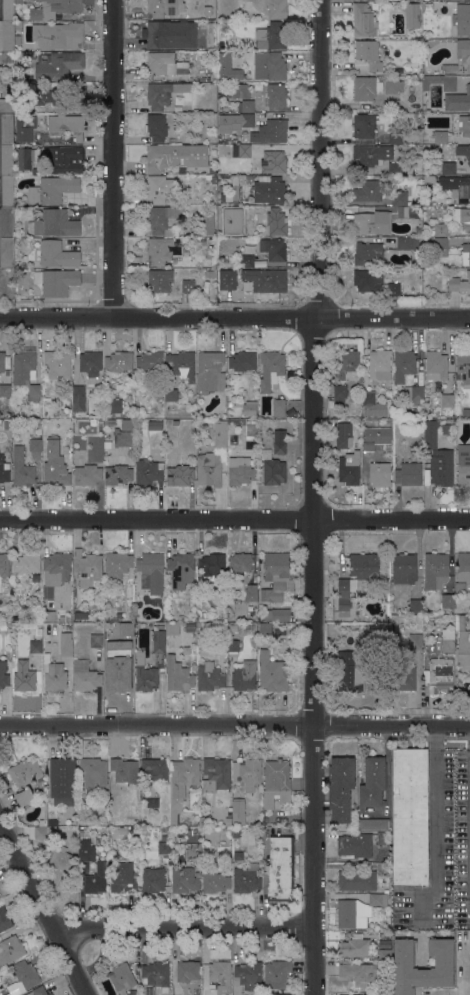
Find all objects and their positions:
building: (428, 6)
building: (165, 7)
building: (55, 8)
building: (276, 8)
building: (8, 10)
building: (207, 10)
building: (412, 15)
building: (16, 17)
building: (462, 19)
building: (363, 20)
building: (18, 25)
building: (170, 34)
building: (58, 35)
building: (8, 36)
building: (275, 37)
building: (18, 40)
building: (463, 51)
building: (368, 54)
building: (20, 55)
building: (7, 57)
building: (164, 64)
building: (57, 65)
building: (275, 66)
building: (228, 67)
building: (449, 69)
building: (248, 74)
road: (467, 80)
building: (440, 82)
building: (392, 86)
building: (365, 88)
building: (240, 91)
building: (431, 91)
building: (164, 93)
building: (44, 95)
building: (276, 95)
building: (12, 101)
building: (457, 101)
building: (244, 106)
building: (425, 108)
building: (242, 120)
building: (364, 125)
building: (464, 125)
building: (67, 126)
building: (156, 127)
building: (25, 128)
building: (7, 129)
building: (271, 132)
building: (394, 136)
building: (440, 136)
building: (172, 140)
building: (241, 151)
building: (463, 151)
building: (372, 155)
building: (175, 156)
building: (25, 158)
building: (7, 160)
building: (67, 160)
road: (111, 160)
building: (270, 163)
building: (394, 168)
building: (448, 168)
building: (409, 170)
building: (35, 171)
building: (213, 171)
building: (248, 179)
building: (430, 179)
building: (214, 180)
building: (456, 185)
building: (157, 189)
building: (53, 190)
building: (270, 190)
building: (427, 190)
building: (7, 191)
building: (368, 192)
building: (232, 193)
building: (399, 196)
building: (225, 217)
building: (461, 217)
building: (163, 219)
building: (382, 219)
building: (276, 221)
building: (6, 222)
building: (54, 223)
building: (209, 223)
building: (420, 223)
building: (440, 230)
building: (431, 232)
building: (212, 240)
building: (407, 243)
building: (441, 246)
building: (274, 249)
building: (163, 250)
building: (6, 253)
building: (368, 253)
building: (54, 254)
building: (465, 254)
building: (221, 259)
building: (248, 261)
building: (419, 272)
building: (211, 273)
building: (227, 279)
building: (159, 280)
building: (266, 280)
building: (368, 280)
building: (56, 281)
building: (419, 281)
building: (459, 284)
building: (187, 285)
building: (394, 289)
road: (235, 320)
building: (242, 360)
building: (4, 361)
building: (119, 361)
building: (149, 361)
building: (91, 363)
building: (58, 364)
building: (404, 364)
building: (182, 365)
building: (348, 365)
building: (379, 365)
building: (436, 365)
building: (463, 369)
building: (271, 370)
building: (210, 372)
building: (27, 374)
building: (123, 388)
building: (5, 390)
building: (413, 394)
building: (171, 395)
building: (339, 396)
building: (79, 399)
building: (447, 400)
building: (168, 404)
building: (372, 406)
building: (398, 406)
building: (111, 407)
building: (250, 408)
building: (279, 408)
building: (65, 412)
building: (465, 412)
building: (155, 413)
building: (5, 415)
building: (100, 421)
building: (109, 422)
building: (175, 422)
building: (224, 422)
building: (127, 424)
building: (7, 425)
building: (155, 425)
building: (430, 434)
building: (343, 435)
building: (123, 438)
building: (220, 439)
building: (280, 442)
building: (35, 444)
building: (372, 444)
building: (463, 464)
building: (22, 468)
building: (349, 468)
building: (441, 468)
building: (209, 469)
building: (4, 471)
building: (240, 471)
building: (274, 471)
building: (148, 472)
building: (56, 473)
building: (379, 474)
building: (409, 474)
building: (87, 475)
building: (118, 475)
building: (180, 475)
road: (313, 497)
road: (235, 520)
building: (26, 563)
building: (239, 563)
building: (4, 565)
building: (117, 565)
building: (211, 565)
building: (364, 566)
building: (463, 567)
building: (88, 568)
building: (404, 568)
building: (181, 569)
building: (436, 570)
building: (55, 572)
building: (151, 572)
building: (275, 576)
building: (460, 587)
building: (128, 591)
building: (251, 592)
building: (345, 595)
building: (447, 601)
building: (415, 606)
building: (77, 614)
building: (119, 615)
building: (202, 615)
building: (277, 615)
building: (49, 616)
building: (180, 617)
building: (65, 619)
building: (387, 619)
building: (461, 622)
building: (3, 627)
building: (172, 628)
building: (125, 629)
building: (265, 630)
building: (447, 640)
building: (96, 641)
building: (159, 641)
building: (415, 641)
building: (66, 644)
building: (128, 644)
building: (233, 645)
building: (35, 647)
building: (186, 650)
building: (463, 650)
building: (348, 672)
building: (116, 673)
building: (145, 673)
building: (273, 673)
building: (3, 675)
building: (178, 675)
building: (440, 675)
building: (23, 676)
building: (85, 676)
building: (54, 677)
building: (210, 677)
building: (244, 677)
building: (404, 678)
road: (235, 725)
building: (155, 769)
building: (93, 771)
building: (124, 771)
building: (247, 773)
building: (216, 774)
building: (24, 778)
building: (277, 779)
building: (62, 780)
building: (373, 782)
building: (182, 783)
building: (340, 788)
building: (152, 803)
building: (238, 811)
building: (44, 815)
building: (410, 816)
building: (266, 819)
building: (373, 824)
road: (435, 827)
building: (236, 834)
building: (165, 837)
building: (360, 844)
building: (51, 846)
building: (164, 848)
building: (85, 850)
building: (193, 850)
parking lot: (442, 850)
building: (239, 856)
building: (280, 869)
building: (124, 877)
building: (96, 879)
building: (246, 879)
building: (152, 880)
building: (357, 880)
building: (185, 881)
building: (215, 881)
road: (44, 907)
building: (358, 910)
building: (4, 919)
road: (184, 930)
building: (354, 946)
building: (11, 949)
building: (385, 955)
building: (404, 962)
building: (0, 968)
building: (187, 971)
road: (463, 971)
building: (218, 972)
building: (361, 973)
building: (26, 974)
building: (248, 974)
building: (277, 974)
building: (155, 977)
building: (122, 978)
building: (469, 981)
building: (37, 991)
building: (282, 994)
building: (353, 994)
building: (387, 994)

